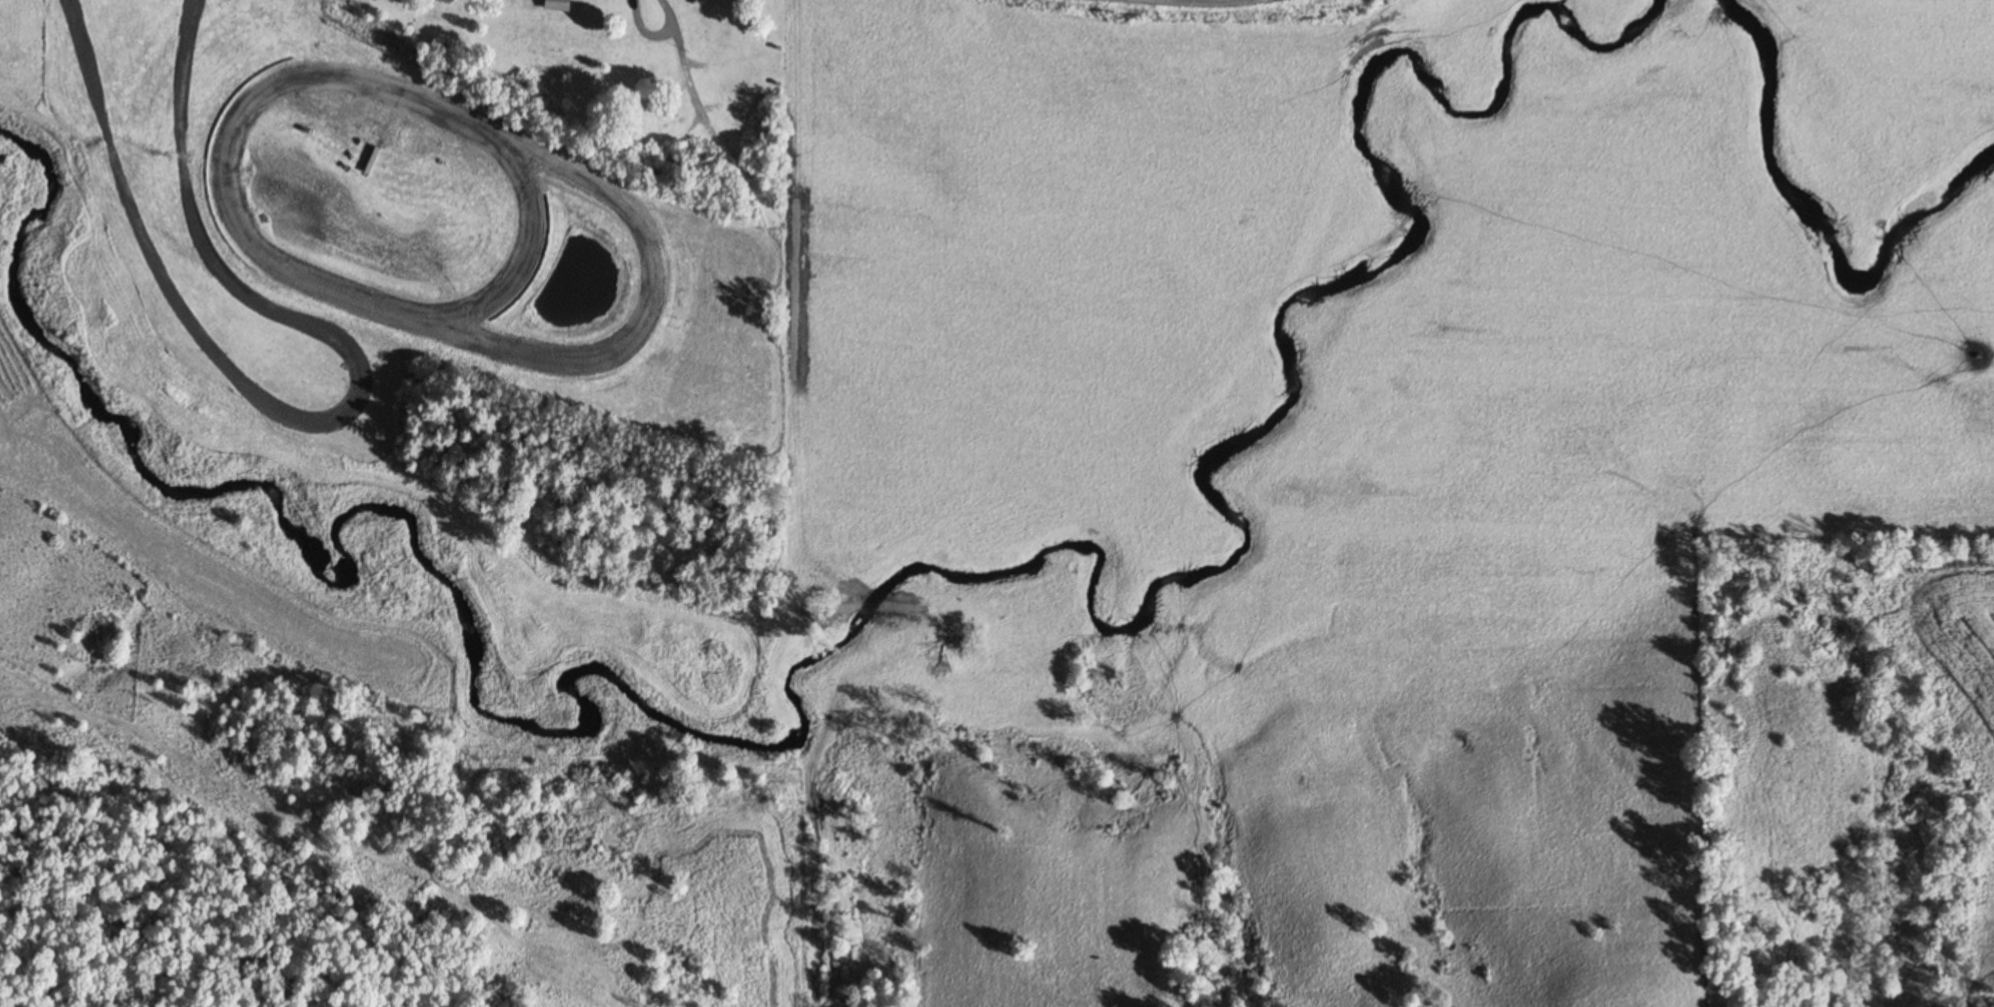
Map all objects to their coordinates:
building: (559, 4)
park: (620, 80)

